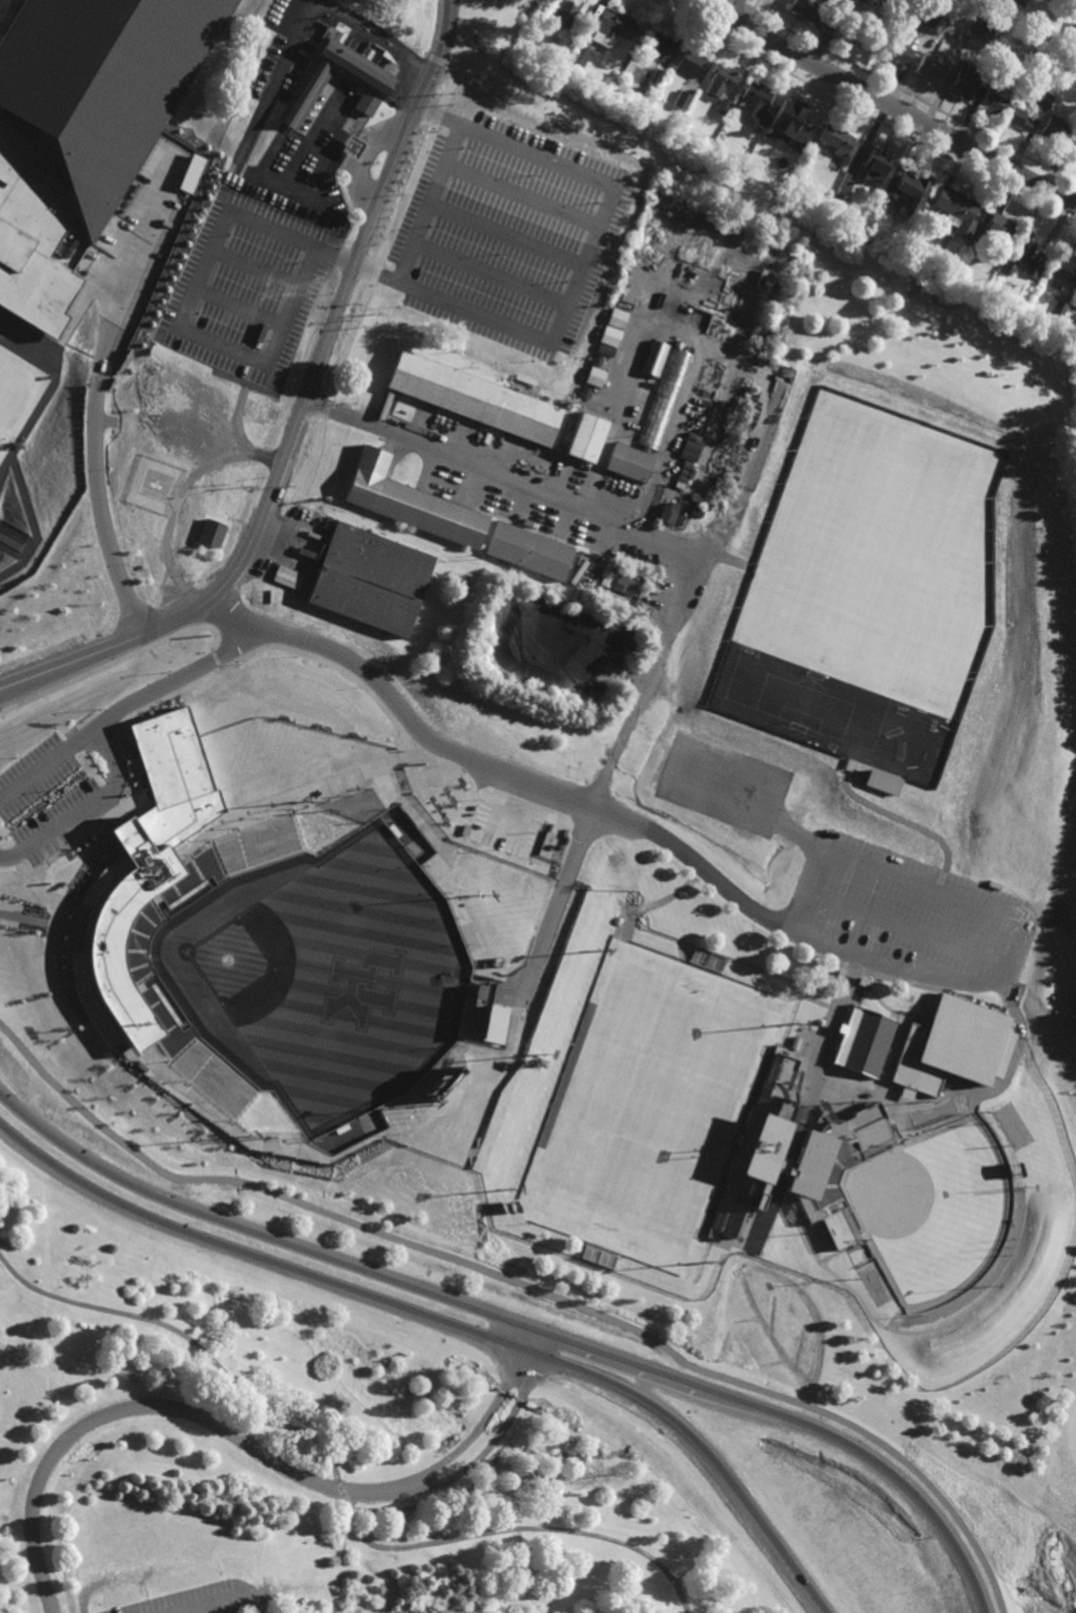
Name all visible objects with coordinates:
road: (739, 2)
building: (869, 2)
road: (757, 5)
road: (733, 9)
building: (567, 12)
road: (710, 14)
building: (812, 14)
building: (932, 18)
road: (743, 27)
building: (611, 28)
road: (376, 30)
road: (375, 40)
building: (967, 42)
building: (903, 43)
building: (659, 45)
building: (579, 56)
building: (691, 62)
building: (929, 71)
building: (657, 77)
building: (721, 81)
building: (370, 82)
building: (961, 82)
building: (101, 84)
road: (910, 96)
road: (337, 98)
building: (755, 98)
building: (1043, 99)
building: (682, 101)
building: (992, 101)
road: (885, 102)
building: (723, 106)
road: (863, 113)
building: (1017, 118)
building: (794, 119)
building: (1053, 129)
road: (250, 137)
building: (836, 139)
building: (352, 147)
building: (1075, 153)
road: (359, 160)
building: (876, 166)
building: (797, 173)
building: (783, 174)
road: (433, 183)
building: (913, 190)
road: (520, 193)
building: (837, 203)
road: (758, 204)
building: (958, 211)
building: (997, 227)
road: (390, 230)
building: (35, 231)
road: (504, 233)
parking lot: (507, 234)
building: (902, 241)
building: (1020, 251)
parking lot: (269, 256)
road: (256, 266)
building: (1061, 269)
building: (1031, 270)
road: (135, 272)
road: (489, 275)
building: (960, 278)
road: (339, 305)
road: (237, 307)
building: (1058, 310)
road: (182, 312)
road: (562, 314)
building: (617, 319)
road: (1067, 355)
building: (655, 358)
building: (596, 361)
building: (595, 378)
building: (583, 393)
road: (47, 396)
park: (10, 397)
building: (474, 399)
road: (1071, 401)
building: (649, 422)
building: (584, 437)
road: (501, 475)
helipad: (154, 486)
building: (410, 500)
building: (697, 509)
building: (667, 511)
road: (100, 513)
road: (30, 521)
road: (1, 524)
building: (211, 533)
road: (28, 541)
park: (861, 544)
road: (24, 548)
building: (528, 549)
road: (21, 556)
building: (369, 576)
building: (623, 585)
road: (104, 647)
road: (179, 675)
road: (645, 680)
road: (111, 760)
road: (489, 764)
parking lot: (723, 777)
building: (881, 782)
parking lot: (39, 797)
building: (140, 873)
building: (633, 874)
building: (631, 887)
road: (27, 919)
parking lot: (911, 923)
road: (1020, 924)
road: (906, 927)
stadium: (312, 945)
stadium: (707, 960)
building: (137, 964)
park: (321, 976)
building: (494, 1024)
building: (862, 1041)
building: (949, 1046)
park: (653, 1106)
building: (757, 1146)
building: (834, 1169)
park: (933, 1211)
building: (873, 1285)
road: (527, 1286)
road: (445, 1321)
road: (515, 1322)
road: (693, 1375)
road: (144, 1408)
road: (480, 1424)
road: (496, 1438)
park: (312, 1445)
road: (338, 1481)
road: (528, 1572)
parking lot: (205, 1600)
road: (218, 1600)
road: (417, 1611)

